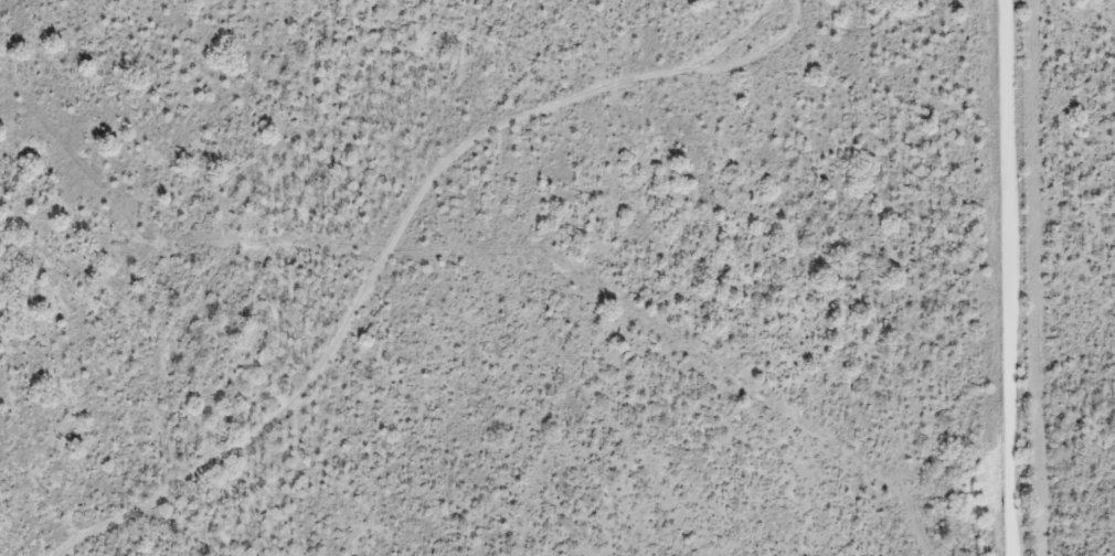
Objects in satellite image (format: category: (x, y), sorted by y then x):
road: (1011, 278)

